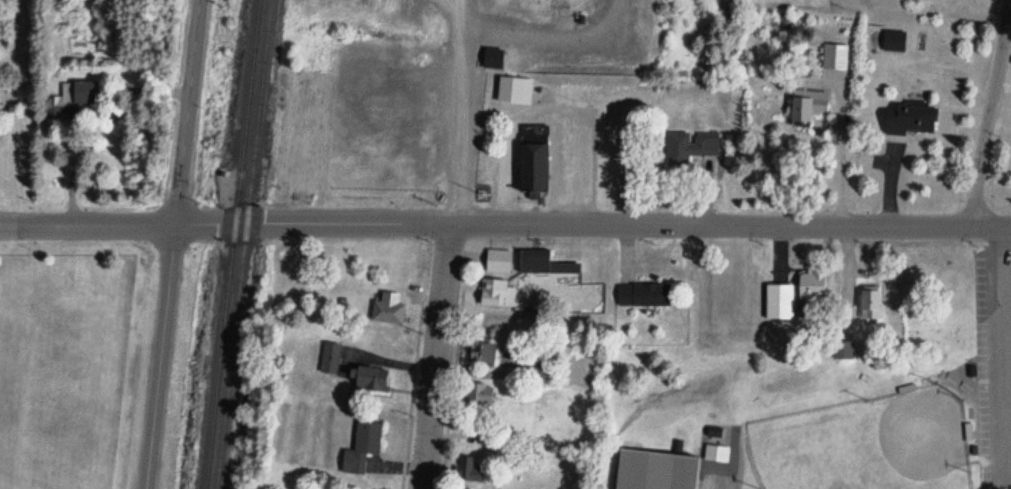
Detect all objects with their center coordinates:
building: (893, 41)
building: (834, 57)
building: (493, 59)
building: (514, 90)
building: (75, 93)
building: (805, 108)
road: (1002, 108)
road: (189, 112)
road: (991, 114)
building: (908, 120)
building: (690, 147)
building: (532, 159)
road: (88, 224)
road: (593, 226)
railway: (234, 244)
railway: (245, 244)
building: (498, 261)
building: (542, 263)
building: (810, 287)
building: (497, 293)
building: (643, 296)
building: (777, 302)
building: (870, 304)
building: (385, 308)
building: (843, 351)
building: (481, 354)
road: (159, 356)
road: (437, 356)
road: (1004, 358)
building: (330, 359)
building: (533, 369)
parking lot: (995, 370)
building: (368, 380)
building: (476, 395)
park: (869, 444)
building: (361, 447)
building: (656, 467)
building: (469, 471)

